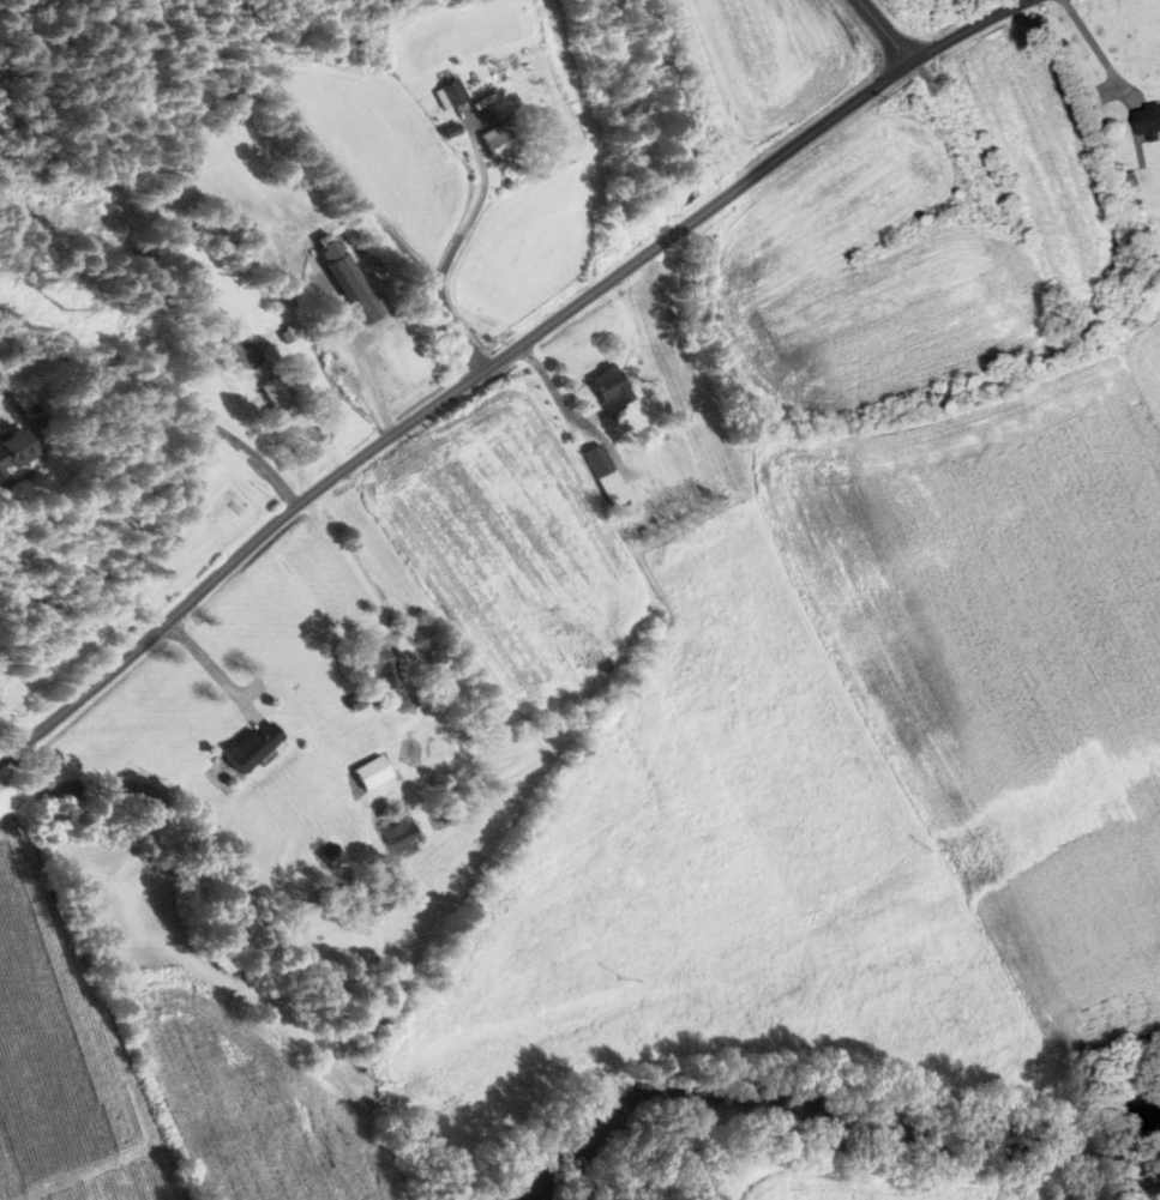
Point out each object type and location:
road: (882, 31)
road: (1094, 47)
building: (449, 95)
building: (1147, 121)
building: (494, 144)
road: (329, 155)
road: (441, 271)
building: (341, 279)
building: (236, 354)
road: (499, 360)
building: (605, 387)
road: (163, 394)
road: (7, 398)
building: (270, 402)
building: (8, 448)
building: (600, 476)
road: (349, 562)
road: (208, 665)
building: (371, 669)
building: (245, 746)
building: (387, 827)
river: (821, 1115)

